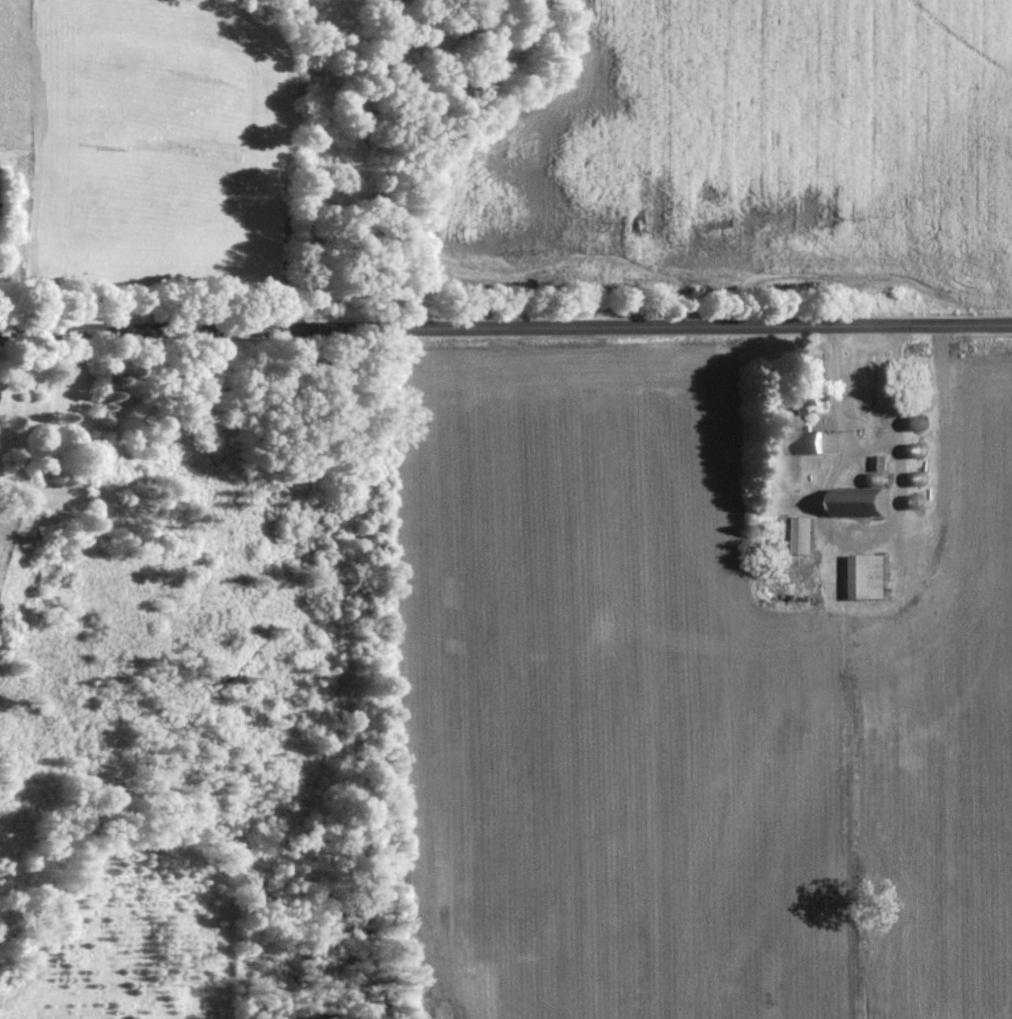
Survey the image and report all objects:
road: (506, 329)
building: (820, 445)
building: (867, 504)
building: (804, 538)
building: (873, 581)

